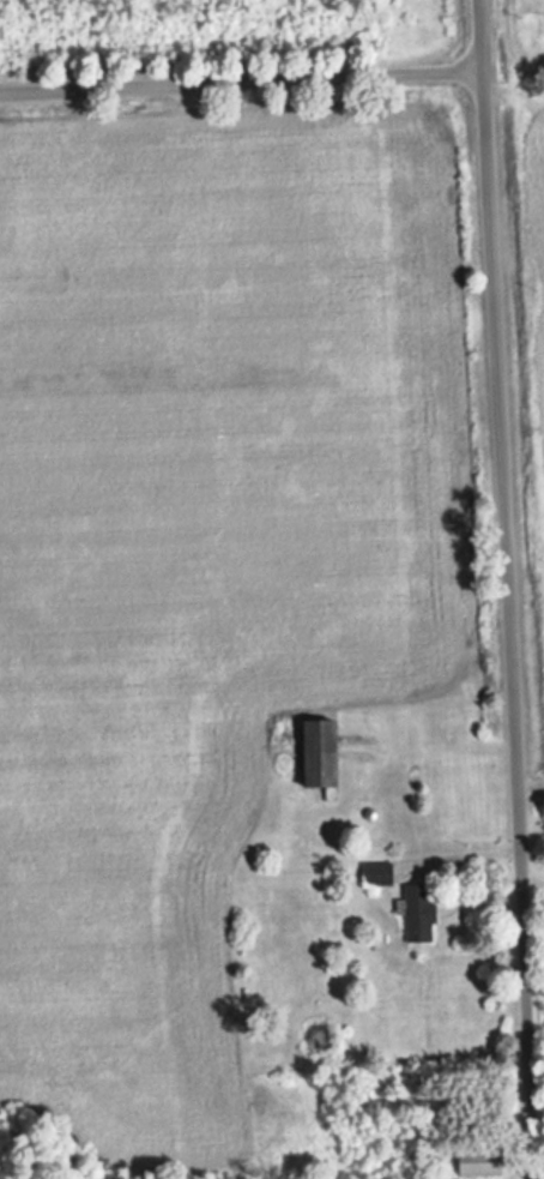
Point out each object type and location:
road: (242, 84)
road: (507, 589)
building: (333, 754)
building: (382, 874)
building: (425, 914)
building: (485, 1163)

